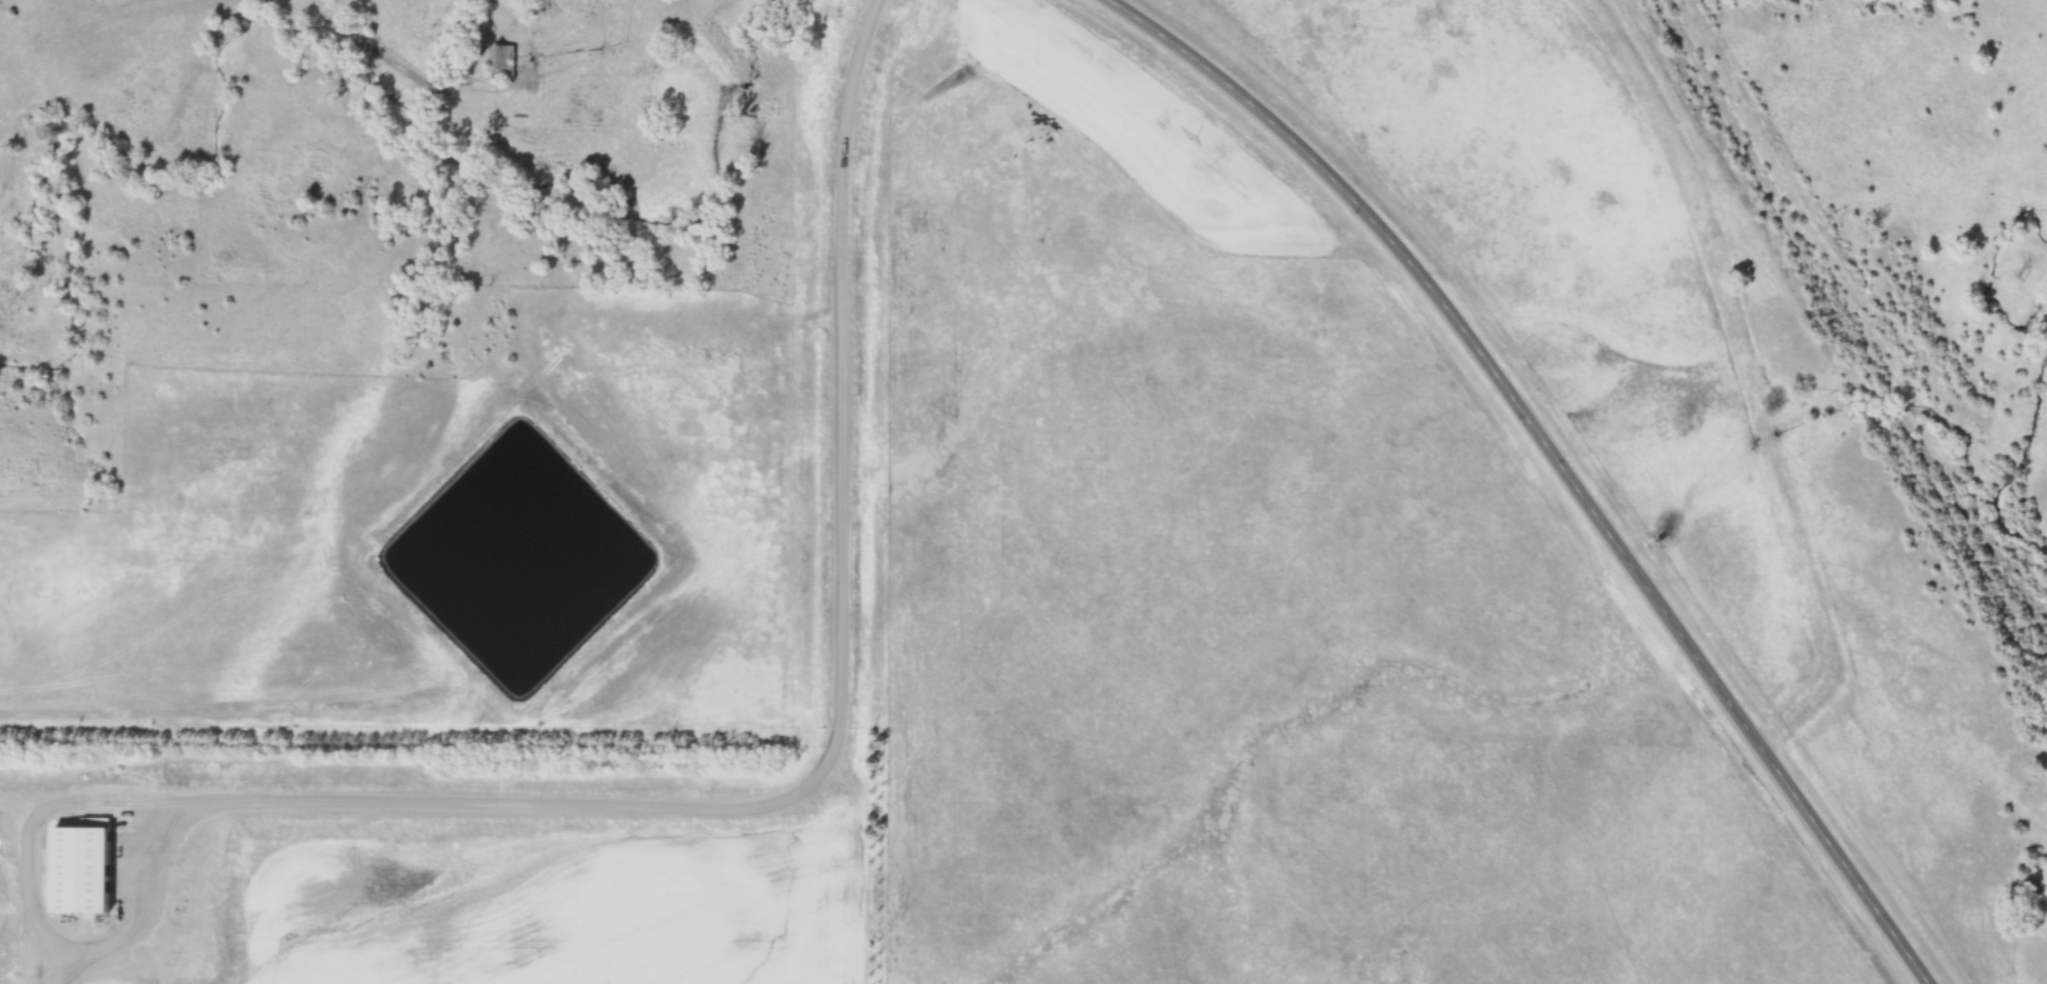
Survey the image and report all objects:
building: (502, 61)
road: (1555, 458)
building: (1120, 616)
road: (834, 717)
building: (81, 869)
road: (44, 924)

